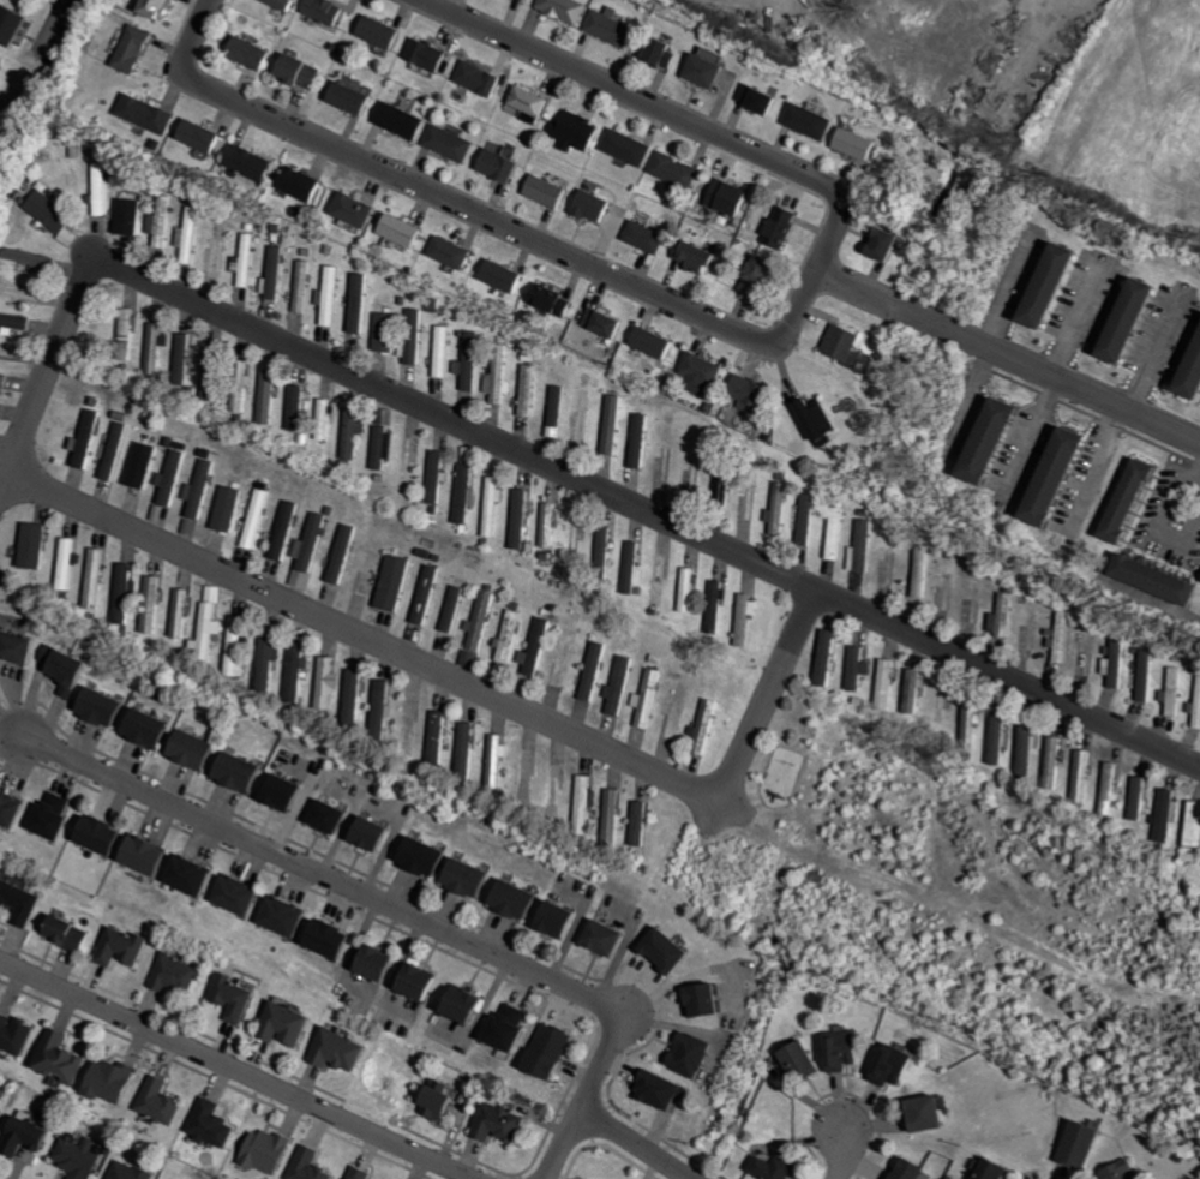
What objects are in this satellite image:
building: (529, 0)
building: (290, 4)
building: (158, 7)
building: (328, 10)
building: (568, 10)
building: (14, 23)
building: (614, 28)
building: (384, 31)
building: (136, 49)
building: (668, 50)
building: (256, 52)
building: (432, 54)
building: (1, 60)
building: (304, 70)
building: (709, 71)
building: (484, 78)
building: (356, 97)
building: (764, 98)
building: (535, 102)
building: (150, 113)
building: (403, 120)
building: (812, 121)
building: (581, 131)
building: (206, 137)
building: (452, 143)
building: (860, 143)
building: (630, 146)
building: (254, 163)
building: (504, 164)
building: (678, 169)
building: (306, 182)
building: (102, 188)
building: (552, 190)
building: (737, 197)
building: (598, 205)
building: (361, 209)
building: (53, 211)
building: (130, 216)
building: (161, 222)
building: (785, 226)
building: (407, 229)
building: (190, 234)
building: (653, 237)
building: (890, 244)
building: (218, 249)
building: (457, 251)
building: (700, 255)
building: (31, 258)
building: (247, 259)
building: (276, 271)
building: (506, 275)
building: (763, 276)
building: (1037, 285)
building: (305, 286)
road: (1012, 287)
building: (332, 295)
building: (556, 299)
building: (361, 303)
road: (1078, 313)
building: (1114, 319)
building: (17, 322)
building: (608, 322)
building: (132, 323)
road: (725, 323)
building: (386, 331)
building: (656, 341)
building: (847, 341)
building: (158, 347)
building: (414, 349)
building: (444, 351)
road: (1008, 353)
road: (1158, 354)
building: (185, 358)
building: (470, 361)
building: (1186, 363)
road: (43, 367)
building: (214, 369)
building: (708, 373)
building: (499, 376)
building: (5, 379)
building: (529, 390)
building: (755, 391)
building: (269, 396)
road: (970, 399)
building: (242, 400)
building: (298, 407)
building: (823, 420)
building: (616, 424)
building: (354, 433)
road: (1032, 435)
building: (90, 437)
building: (978, 439)
building: (642, 441)
building: (384, 447)
road: (1094, 461)
building: (143, 465)
road: (1196, 472)
building: (173, 477)
building: (437, 477)
building: (1044, 477)
road: (1196, 480)
building: (200, 490)
building: (464, 492)
building: (1117, 499)
building: (493, 504)
building: (228, 508)
road: (648, 508)
building: (782, 509)
building: (258, 517)
building: (521, 519)
building: (809, 521)
road: (1156, 522)
building: (550, 525)
building: (286, 529)
building: (839, 533)
building: (37, 545)
building: (864, 547)
building: (310, 550)
building: (343, 553)
building: (70, 563)
building: (634, 567)
building: (923, 570)
building: (98, 577)
building: (1145, 579)
building: (662, 580)
building: (395, 582)
building: (691, 589)
building: (126, 593)
building: (426, 593)
building: (155, 604)
building: (718, 606)
building: (182, 612)
building: (749, 617)
building: (482, 618)
building: (1002, 629)
road: (361, 632)
building: (511, 635)
building: (239, 646)
building: (539, 646)
building: (26, 648)
building: (472, 658)
building: (830, 658)
building: (274, 659)
building: (1116, 663)
building: (859, 668)
building: (73, 670)
building: (299, 674)
building: (1141, 675)
building: (595, 676)
building: (331, 682)
building: (622, 684)
building: (888, 684)
building: (916, 689)
road: (766, 690)
building: (356, 696)
building: (649, 698)
building: (110, 707)
building: (157, 729)
road: (14, 730)
building: (439, 736)
building: (996, 742)
building: (468, 747)
building: (203, 749)
building: (1025, 750)
building: (500, 759)
building: (1054, 764)
building: (248, 773)
building: (1081, 777)
building: (1109, 789)
building: (289, 794)
building: (1138, 798)
building: (587, 804)
building: (13, 808)
building: (1164, 814)
building: (56, 816)
building: (613, 816)
building: (336, 818)
building: (640, 822)
building: (376, 833)
building: (107, 834)
building: (151, 855)
building: (427, 856)
road: (326, 872)
building: (197, 876)
building: (474, 879)
building: (245, 896)
building: (521, 900)
building: (22, 902)
building: (290, 917)
building: (563, 921)
building: (72, 933)
building: (608, 938)
building: (338, 940)
building: (125, 947)
building: (672, 951)
building: (385, 963)
building: (179, 975)
building: (425, 981)
building: (238, 998)
building: (712, 1001)
building: (470, 1004)
building: (290, 1025)
building: (515, 1029)
building: (18, 1033)
building: (848, 1049)
building: (344, 1051)
building: (556, 1051)
building: (697, 1054)
building: (65, 1057)
building: (804, 1063)
road: (241, 1066)
building: (116, 1081)
building: (664, 1090)
road: (587, 1095)
building: (163, 1101)
building: (930, 1114)
building: (1, 1123)
building: (504, 1124)
building: (214, 1125)
building: (30, 1136)
road: (640, 1142)
building: (1074, 1145)
road: (844, 1150)
building: (271, 1151)
building: (79, 1157)
building: (312, 1165)
building: (781, 1168)
building: (912, 1169)
building: (985, 1169)
building: (130, 1172)
building: (1111, 1172)
building: (362, 1173)

